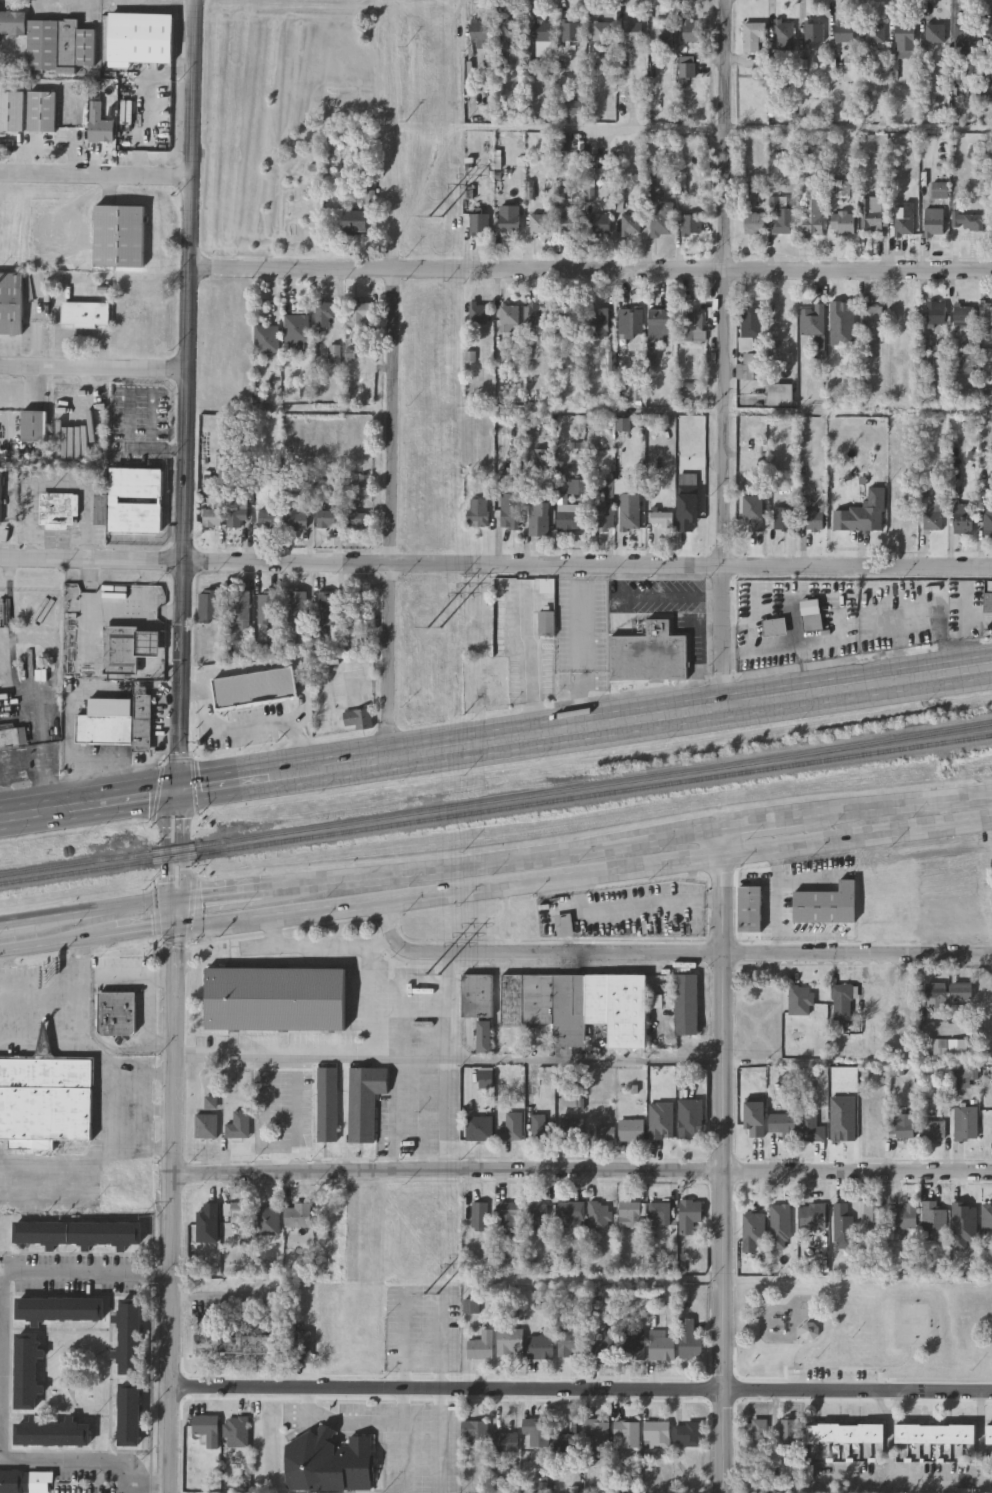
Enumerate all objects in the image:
building: (13, 22)
building: (541, 31)
building: (813, 31)
building: (844, 31)
building: (511, 32)
building: (570, 32)
building: (601, 32)
building: (631, 32)
building: (693, 32)
building: (874, 32)
building: (934, 32)
building: (480, 34)
building: (783, 34)
building: (990, 34)
building: (661, 35)
building: (966, 35)
building: (753, 36)
building: (904, 36)
building: (152, 37)
building: (60, 44)
building: (686, 69)
building: (575, 107)
building: (12, 110)
building: (43, 111)
building: (100, 126)
road: (594, 127)
road: (96, 177)
building: (873, 214)
building: (781, 216)
power tower: (438, 217)
building: (812, 217)
building: (509, 219)
building: (661, 221)
building: (355, 222)
building: (903, 222)
building: (934, 222)
building: (968, 222)
building: (539, 223)
building: (754, 223)
building: (842, 223)
building: (569, 224)
building: (600, 224)
building: (629, 224)
building: (690, 224)
building: (478, 225)
building: (121, 235)
road: (592, 273)
building: (11, 302)
building: (87, 313)
building: (325, 313)
building: (985, 313)
building: (539, 314)
building: (568, 314)
building: (936, 314)
building: (478, 315)
building: (962, 317)
building: (359, 318)
building: (509, 318)
building: (871, 318)
building: (692, 320)
building: (811, 320)
building: (660, 321)
building: (597, 323)
building: (629, 323)
building: (750, 324)
building: (297, 329)
building: (266, 339)
road: (727, 355)
building: (751, 367)
road: (95, 369)
road: (189, 395)
building: (779, 395)
building: (33, 425)
building: (574, 487)
building: (210, 488)
building: (893, 490)
building: (977, 490)
building: (896, 492)
building: (1, 496)
building: (136, 499)
building: (625, 503)
building: (508, 504)
building: (100, 508)
building: (58, 509)
building: (873, 509)
building: (751, 510)
building: (602, 512)
building: (477, 513)
road: (392, 516)
building: (236, 517)
building: (569, 517)
building: (211, 518)
building: (326, 518)
building: (539, 518)
building: (783, 518)
building: (962, 518)
building: (988, 518)
building: (811, 519)
building: (268, 520)
building: (356, 520)
building: (661, 520)
building: (296, 521)
building: (931, 521)
building: (902, 522)
road: (93, 558)
road: (589, 567)
building: (546, 585)
road: (661, 596)
building: (909, 597)
building: (988, 598)
building: (207, 604)
building: (297, 605)
building: (358, 606)
building: (269, 607)
building: (328, 607)
building: (239, 608)
building: (547, 622)
building: (814, 624)
power tower: (437, 628)
building: (149, 641)
building: (779, 645)
building: (120, 649)
road: (581, 649)
building: (650, 654)
road: (532, 667)
road: (192, 689)
building: (301, 710)
building: (142, 718)
building: (360, 718)
road: (638, 722)
road: (234, 727)
building: (103, 729)
building: (14, 736)
road: (300, 749)
road: (230, 783)
traffic signals: (177, 791)
railway: (496, 799)
road: (122, 800)
road: (896, 801)
railway: (495, 808)
road: (34, 814)
road: (759, 818)
road: (167, 845)
road: (186, 846)
road: (490, 856)
road: (582, 873)
road: (807, 876)
road: (218, 894)
traffic signals: (174, 900)
building: (826, 904)
road: (632, 906)
building: (749, 908)
road: (104, 910)
road: (173, 914)
road: (778, 917)
road: (17, 922)
traffic signals: (173, 928)
road: (145, 930)
road: (58, 942)
road: (321, 947)
road: (672, 954)
power tower: (435, 974)
road: (126, 976)
building: (947, 991)
building: (805, 992)
building: (476, 994)
building: (908, 994)
building: (275, 998)
road: (371, 1001)
building: (841, 1001)
road: (40, 1004)
parking lot: (356, 1004)
building: (577, 1004)
building: (685, 1004)
road: (447, 1006)
building: (117, 1014)
road: (150, 1018)
road: (86, 1037)
road: (447, 1059)
building: (960, 1072)
building: (964, 1075)
building: (46, 1099)
building: (363, 1100)
building: (326, 1103)
road: (124, 1107)
parking lot: (417, 1114)
road: (261, 1115)
road: (297, 1115)
road: (395, 1115)
parking lot: (284, 1116)
road: (425, 1116)
building: (690, 1118)
building: (965, 1122)
building: (783, 1123)
building: (901, 1124)
building: (207, 1126)
building: (239, 1126)
building: (813, 1126)
building: (509, 1127)
road: (114, 1128)
building: (479, 1128)
building: (539, 1128)
building: (571, 1129)
building: (932, 1129)
building: (631, 1130)
building: (605, 1132)
road: (722, 1158)
road: (89, 1169)
road: (583, 1172)
road: (173, 1210)
building: (568, 1211)
building: (659, 1212)
building: (238, 1214)
building: (510, 1214)
building: (629, 1214)
building: (872, 1214)
building: (297, 1215)
building: (688, 1215)
building: (905, 1215)
building: (479, 1216)
building: (536, 1216)
building: (599, 1216)
building: (813, 1216)
building: (987, 1216)
building: (265, 1220)
building: (933, 1221)
building: (842, 1225)
building: (754, 1228)
building: (78, 1234)
road: (78, 1273)
road: (164, 1275)
power tower: (433, 1294)
road: (218, 1296)
building: (61, 1308)
park: (914, 1325)
parking lot: (423, 1328)
park: (865, 1329)
building: (813, 1333)
building: (130, 1335)
building: (688, 1340)
building: (509, 1343)
building: (571, 1343)
building: (631, 1343)
building: (236, 1344)
building: (480, 1345)
building: (540, 1347)
building: (603, 1347)
building: (661, 1348)
building: (27, 1371)
parking lot: (834, 1378)
road: (581, 1389)
building: (130, 1413)
road: (346, 1424)
building: (206, 1426)
building: (755, 1428)
building: (535, 1430)
building: (236, 1431)
building: (53, 1432)
building: (475, 1432)
building: (788, 1432)
building: (845, 1432)
building: (596, 1433)
building: (935, 1433)
building: (989, 1433)
building: (626, 1434)
building: (656, 1434)
building: (686, 1434)
parking lot: (395, 1440)
road: (406, 1440)
road: (441, 1440)
building: (504, 1441)
building: (565, 1445)
road: (96, 1460)
building: (328, 1462)
road: (939, 1476)
building: (26, 1481)
road: (125, 1488)

